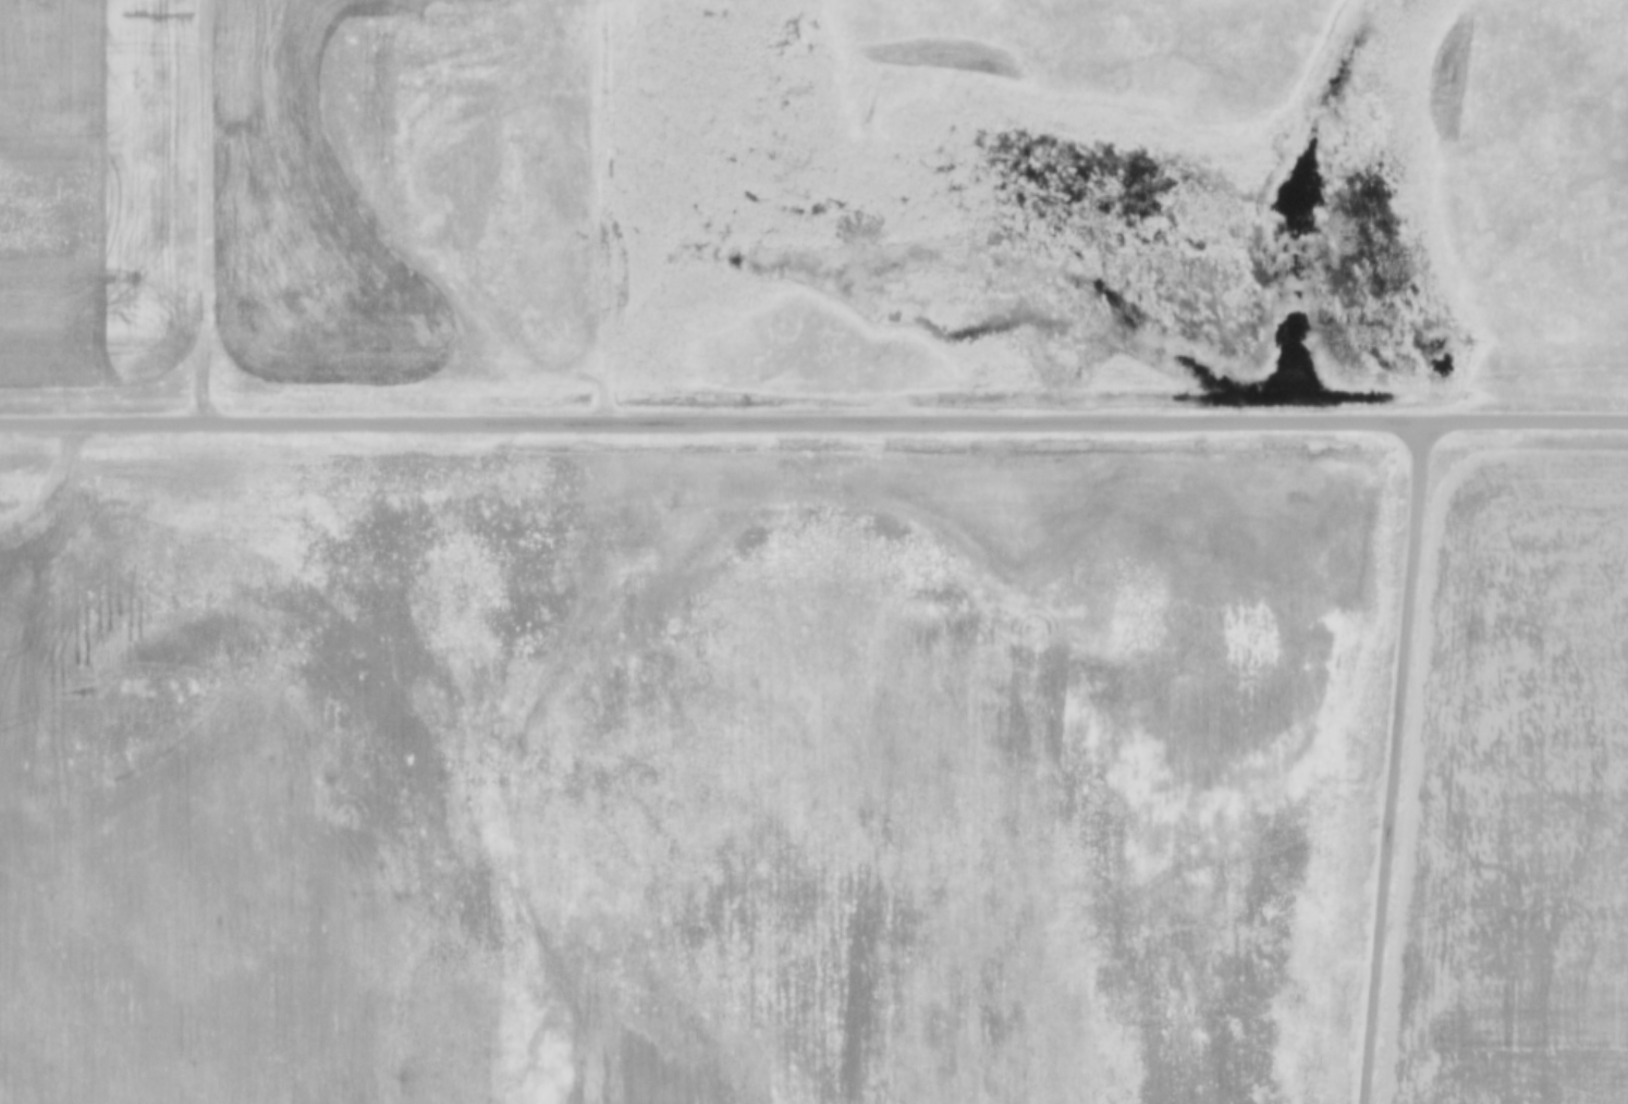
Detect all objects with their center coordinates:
road: (605, 209)
road: (813, 420)
road: (1395, 762)

